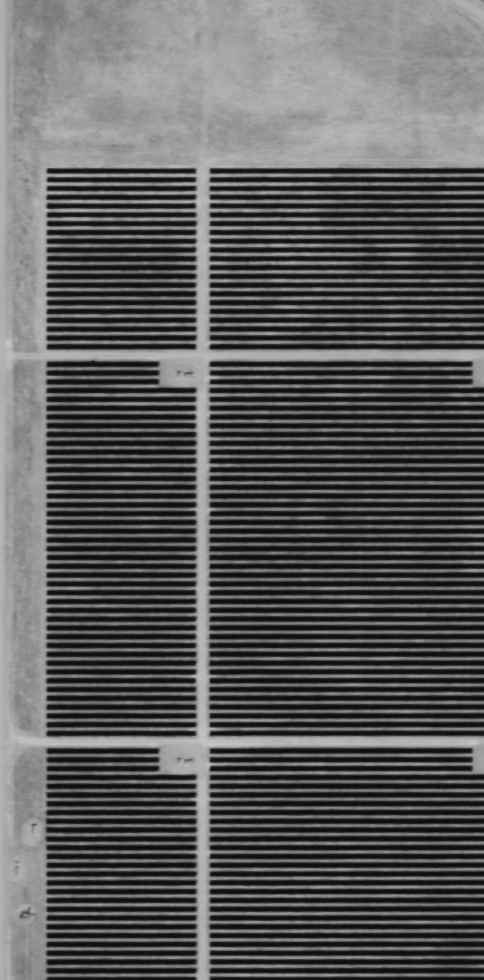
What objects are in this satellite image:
solar farm: (242, 490)

